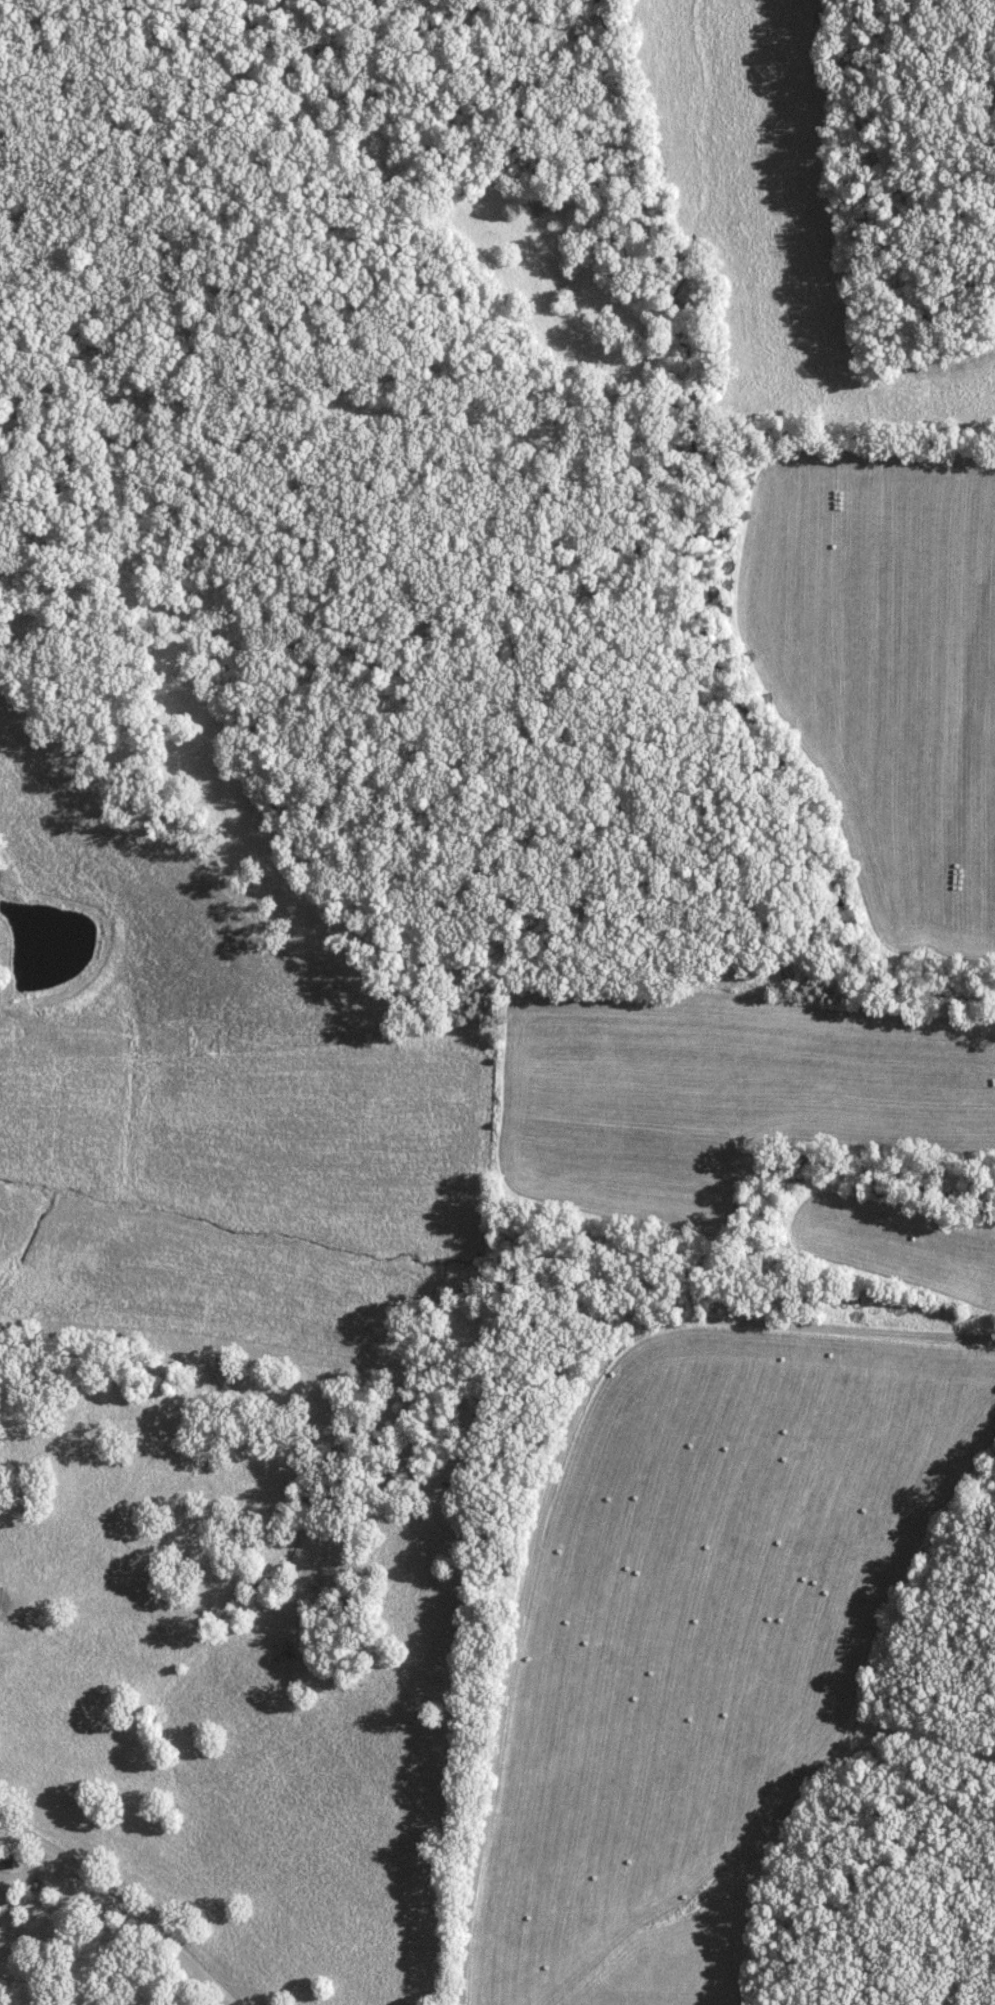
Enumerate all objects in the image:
building: (0, 1590)
building: (6, 1860)
road: (124, 1903)

